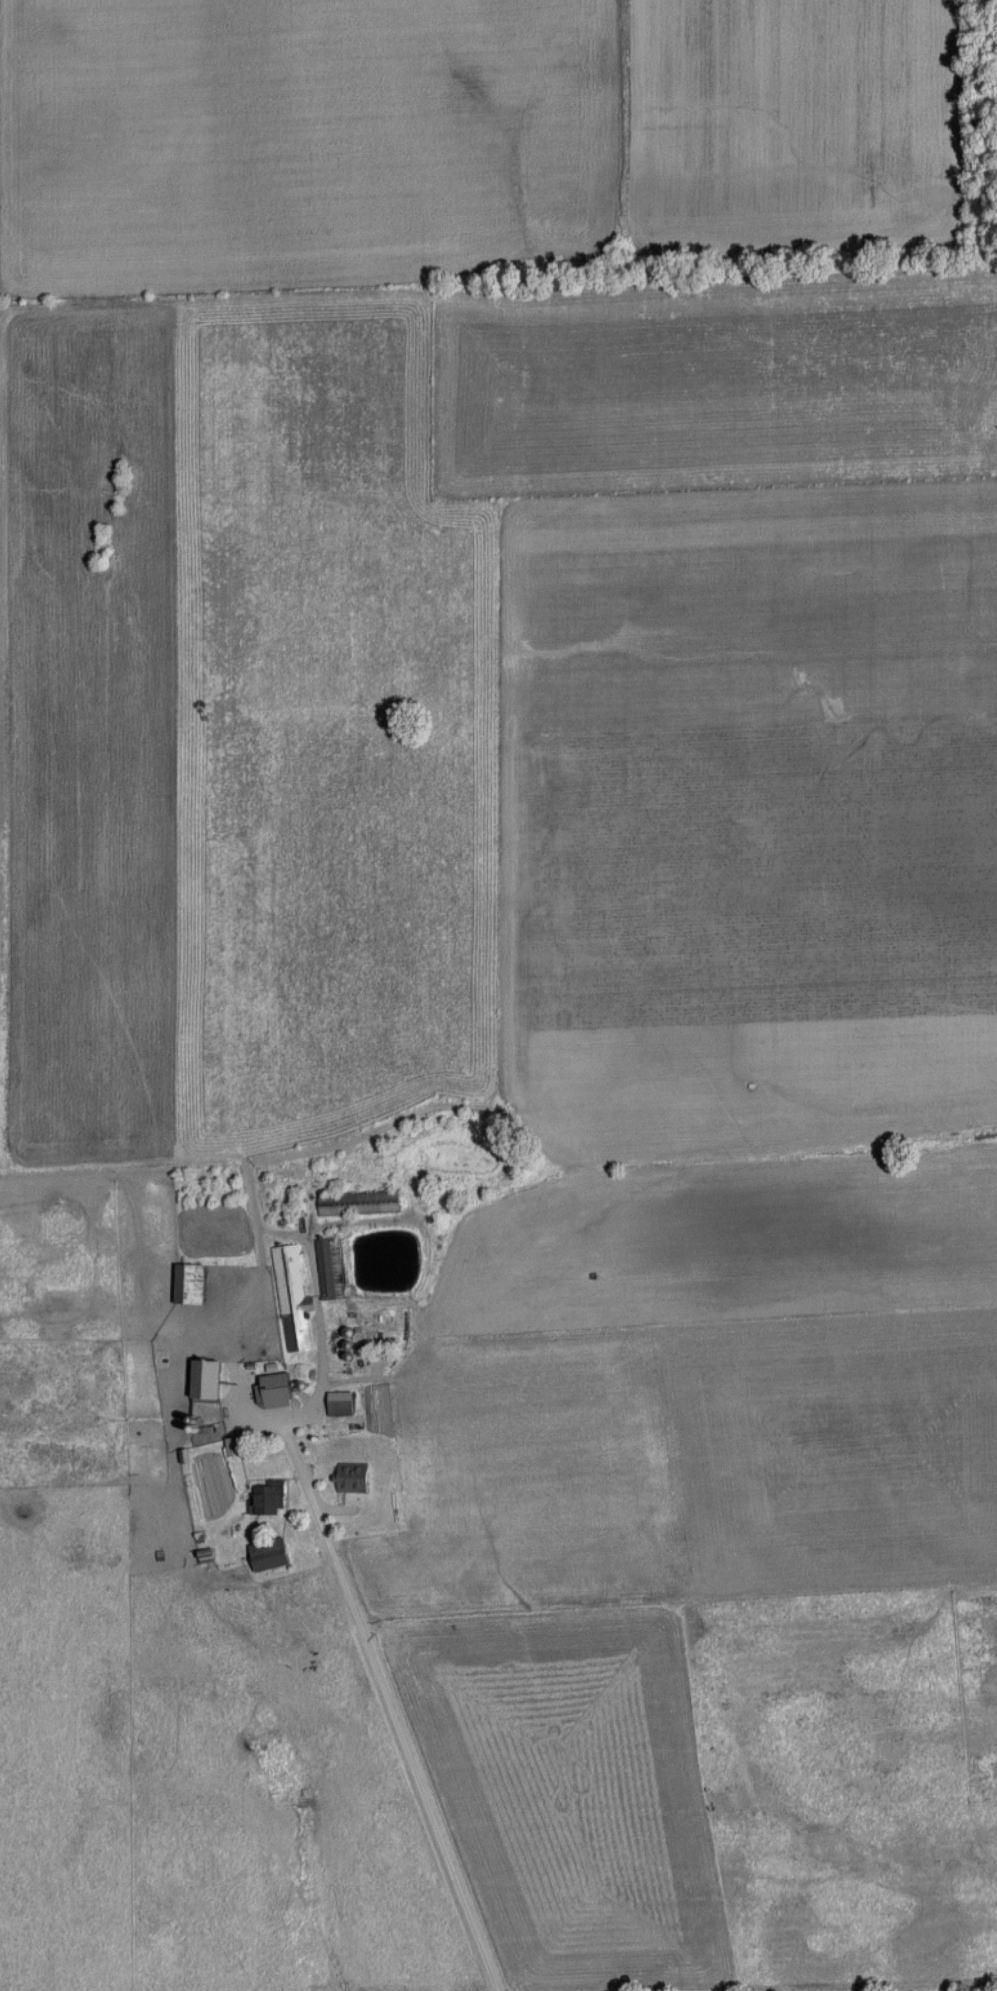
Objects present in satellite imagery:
building: (360, 1202)
building: (326, 1267)
building: (190, 1283)
building: (292, 1297)
building: (366, 1366)
building: (210, 1380)
building: (276, 1390)
building: (342, 1403)
building: (353, 1476)
building: (271, 1497)
building: (208, 1555)
road: (394, 1734)

